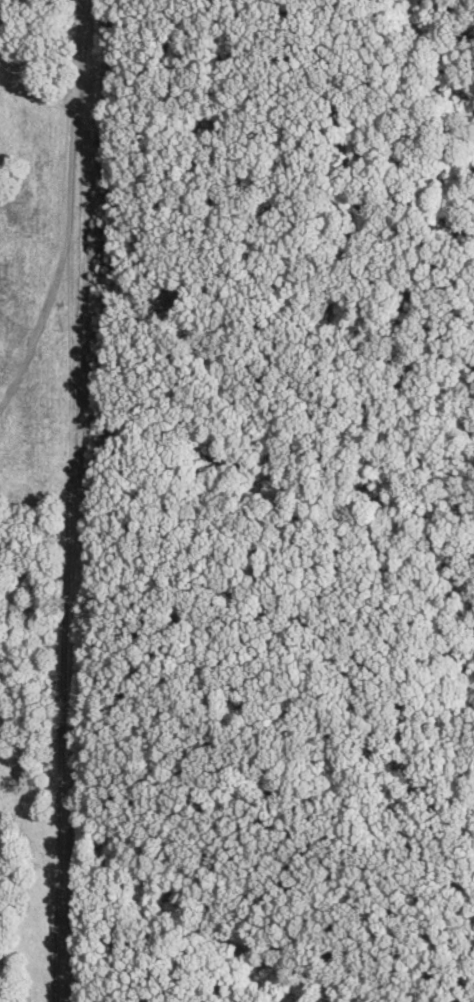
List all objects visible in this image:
road: (71, 209)

